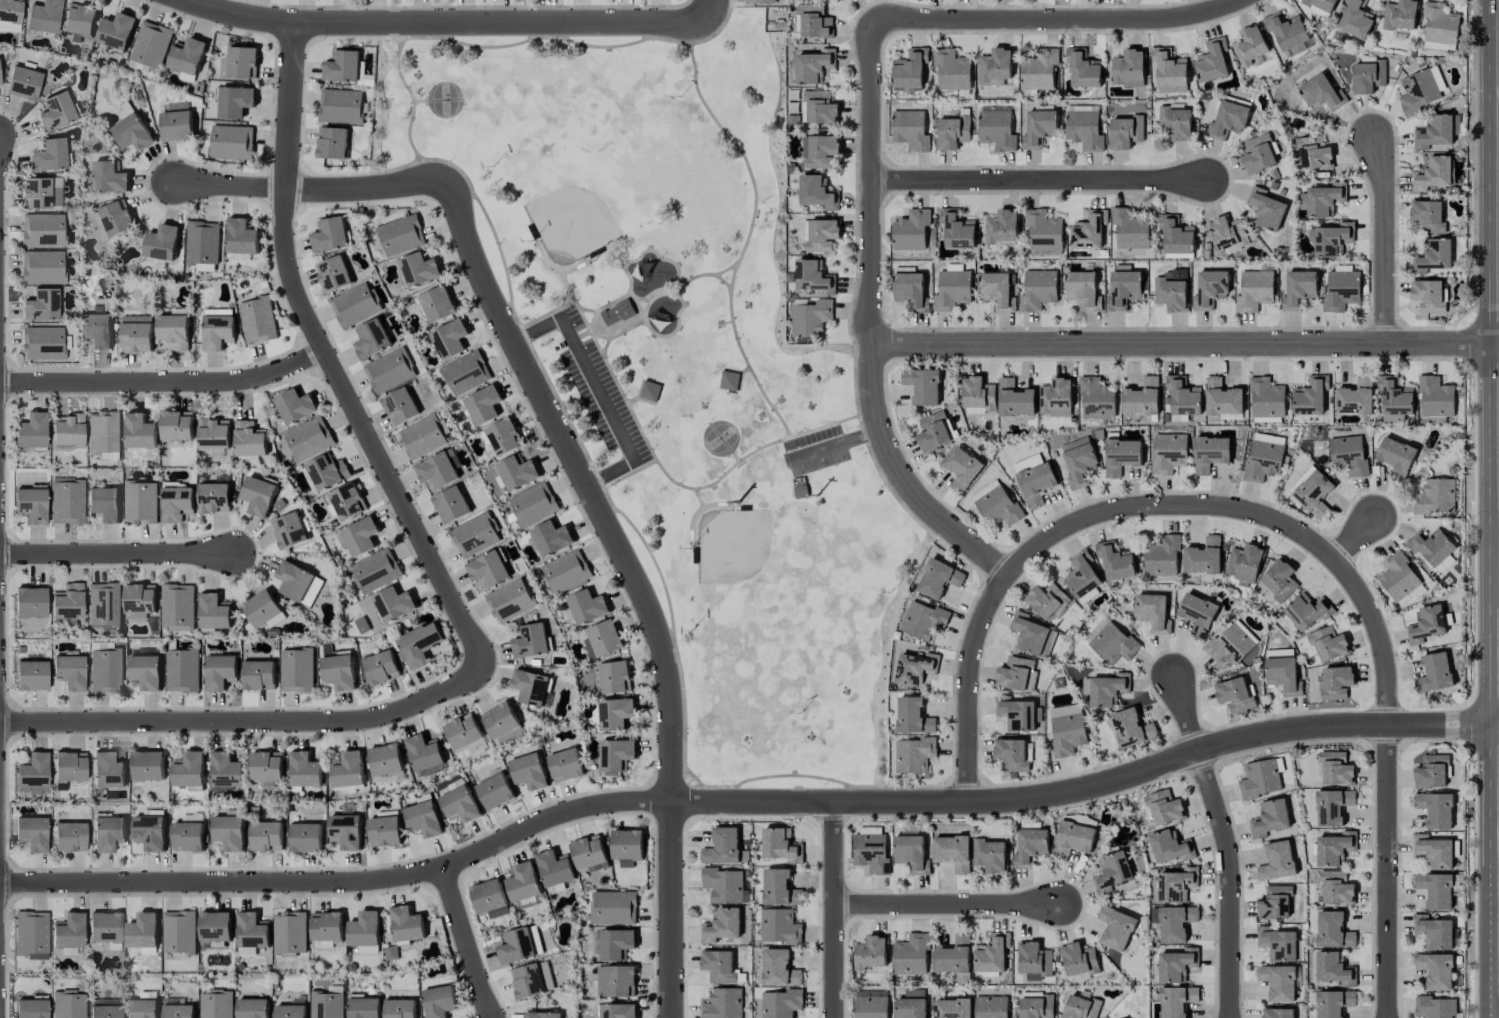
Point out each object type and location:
building: (760, 1)
building: (1319, 6)
building: (10, 10)
road: (709, 11)
building: (1399, 15)
building: (43, 16)
road: (1055, 20)
building: (1355, 20)
building: (80, 21)
road: (443, 22)
building: (816, 25)
building: (1439, 27)
building: (117, 31)
building: (1287, 33)
building: (151, 44)
building: (1250, 45)
building: (187, 56)
building: (1212, 62)
building: (241, 63)
building: (814, 66)
building: (995, 66)
building: (342, 67)
building: (910, 69)
building: (1083, 69)
building: (1128, 69)
building: (952, 70)
building: (1039, 70)
building: (1169, 71)
building: (1367, 76)
building: (0, 83)
building: (23, 83)
building: (1420, 90)
building: (1321, 93)
park: (444, 100)
building: (235, 101)
road: (290, 105)
building: (340, 106)
building: (818, 108)
building: (56, 111)
building: (125, 111)
building: (1228, 119)
building: (1175, 122)
building: (177, 126)
building: (1039, 128)
building: (996, 129)
building: (910, 130)
building: (1084, 130)
building: (952, 132)
building: (1125, 132)
building: (1434, 132)
building: (132, 133)
building: (232, 142)
building: (332, 143)
building: (819, 151)
building: (1257, 154)
building: (49, 155)
building: (1315, 157)
building: (1434, 174)
building: (109, 177)
road: (1038, 179)
road: (231, 186)
building: (35, 192)
building: (817, 193)
building: (1321, 201)
building: (1266, 209)
building: (1427, 216)
building: (116, 218)
building: (1002, 229)
building: (1130, 229)
building: (42, 230)
building: (911, 230)
building: (957, 230)
building: (1089, 231)
building: (1043, 233)
building: (1227, 233)
building: (329, 235)
building: (400, 235)
building: (820, 235)
building: (241, 236)
road: (747, 237)
building: (1176, 238)
building: (1333, 240)
road: (1385, 240)
building: (161, 243)
building: (202, 243)
building: (1433, 256)
building: (42, 267)
road: (728, 268)
building: (419, 269)
building: (333, 274)
road: (706, 275)
road: (679, 276)
building: (813, 277)
building: (996, 289)
building: (1123, 289)
building: (1210, 289)
building: (1298, 289)
building: (952, 290)
building: (1038, 290)
building: (1083, 290)
building: (1171, 290)
building: (1254, 290)
building: (1341, 290)
building: (911, 291)
building: (1430, 295)
building: (437, 304)
building: (41, 305)
building: (355, 305)
road: (635, 307)
building: (617, 313)
building: (810, 318)
building: (257, 320)
road: (872, 324)
building: (96, 330)
building: (173, 331)
building: (217, 332)
building: (136, 334)
building: (449, 338)
building: (371, 339)
building: (42, 343)
road: (1186, 344)
park: (686, 364)
building: (389, 370)
building: (465, 373)
building: (728, 381)
road: (165, 382)
building: (922, 385)
parking lot: (601, 387)
road: (597, 389)
building: (649, 391)
building: (1310, 396)
building: (1394, 396)
building: (1056, 397)
building: (1096, 398)
building: (1141, 398)
building: (1266, 398)
building: (1355, 398)
building: (1436, 398)
building: (1015, 399)
building: (1221, 399)
building: (1183, 400)
building: (483, 405)
building: (294, 406)
building: (400, 406)
building: (177, 426)
building: (67, 429)
building: (31, 430)
building: (140, 431)
road: (366, 431)
building: (934, 431)
building: (103, 432)
building: (213, 434)
building: (423, 436)
building: (503, 436)
park: (720, 438)
building: (249, 439)
building: (307, 439)
road: (835, 444)
parking lot: (815, 451)
building: (1169, 452)
building: (1210, 453)
building: (1348, 455)
building: (1121, 456)
building: (1396, 456)
building: (1264, 457)
building: (1078, 461)
road: (660, 468)
building: (961, 468)
building: (437, 470)
building: (327, 472)
building: (516, 472)
building: (1036, 483)
building: (1314, 494)
building: (258, 496)
building: (214, 497)
building: (1436, 497)
road: (698, 499)
building: (345, 501)
building: (67, 502)
building: (140, 503)
building: (177, 503)
building: (104, 504)
building: (533, 504)
building: (31, 505)
building: (451, 505)
road: (1139, 505)
road: (598, 507)
building: (998, 507)
building: (289, 530)
building: (475, 535)
building: (360, 536)
building: (551, 538)
road: (1357, 543)
building: (1431, 546)
road: (115, 555)
building: (1162, 556)
building: (1203, 557)
building: (1115, 561)
building: (1244, 563)
building: (488, 569)
building: (377, 570)
building: (566, 571)
building: (1082, 575)
building: (1398, 576)
building: (938, 578)
building: (1279, 580)
building: (299, 583)
building: (510, 600)
building: (1046, 600)
building: (67, 601)
building: (140, 601)
building: (30, 602)
building: (104, 604)
building: (394, 604)
building: (177, 607)
building: (587, 607)
building: (263, 610)
building: (1151, 610)
building: (214, 611)
building: (1307, 611)
building: (1197, 614)
building: (922, 620)
building: (1426, 624)
building: (1032, 635)
building: (602, 639)
building: (531, 642)
building: (1110, 642)
building: (419, 644)
building: (1231, 644)
building: (1328, 644)
building: (327, 649)
building: (105, 667)
building: (381, 668)
building: (913, 669)
building: (182, 670)
building: (296, 670)
building: (219, 671)
building: (69, 672)
building: (145, 672)
building: (339, 672)
building: (1434, 673)
building: (31, 675)
building: (259, 675)
building: (1017, 675)
building: (1283, 675)
building: (614, 677)
building: (1335, 682)
building: (531, 687)
building: (1106, 689)
building: (1234, 695)
building: (1064, 710)
building: (615, 714)
building: (1017, 715)
road: (1187, 715)
building: (913, 716)
building: (500, 720)
road: (248, 721)
building: (1131, 728)
building: (463, 732)
building: (1067, 734)
building: (423, 752)
building: (616, 754)
building: (1012, 754)
building: (914, 755)
building: (385, 760)
building: (565, 765)
building: (148, 766)
building: (266, 766)
building: (68, 768)
building: (189, 769)
building: (1336, 769)
building: (108, 770)
building: (304, 770)
building: (348, 770)
building: (225, 771)
building: (528, 771)
building: (1432, 771)
building: (33, 773)
building: (1261, 778)
road: (1089, 787)
building: (495, 791)
building: (459, 805)
building: (1333, 806)
building: (1163, 807)
building: (1437, 810)
building: (423, 818)
building: (1269, 818)
building: (1086, 821)
building: (346, 831)
building: (384, 831)
building: (149, 832)
building: (229, 832)
building: (32, 833)
building: (108, 833)
building: (70, 836)
building: (266, 836)
building: (188, 837)
building: (306, 838)
building: (1073, 839)
building: (781, 845)
building: (1169, 846)
building: (627, 847)
building: (722, 847)
building: (1030, 847)
building: (1335, 849)
building: (1433, 851)
building: (588, 852)
building: (871, 852)
building: (953, 852)
building: (912, 853)
building: (989, 855)
building: (1277, 862)
building: (554, 868)
road: (1387, 871)
road: (343, 881)
building: (523, 882)
road: (1231, 882)
building: (1176, 884)
building: (724, 885)
building: (779, 888)
building: (1435, 890)
building: (489, 899)
road: (946, 903)
building: (1274, 903)
building: (613, 907)
road: (833, 910)
building: (1176, 923)
building: (406, 924)
building: (721, 925)
building: (326, 926)
building: (779, 926)
building: (104, 927)
building: (1115, 928)
building: (214, 929)
building: (252, 930)
building: (142, 931)
building: (1333, 931)
building: (179, 932)
building: (364, 932)
building: (1434, 932)
building: (68, 933)
building: (31, 934)
building: (289, 934)
building: (535, 939)
road: (466, 943)
building: (1277, 943)
building: (322, 944)
building: (616, 944)
building: (515, 946)
building: (870, 953)
building: (911, 954)
building: (991, 955)
building: (954, 959)
building: (1078, 959)
building: (1034, 961)
building: (1177, 964)
building: (779, 969)
building: (1334, 969)
building: (1436, 970)
building: (529, 979)
building: (616, 981)
building: (1278, 982)
building: (439, 1001)
building: (1176, 1001)
building: (780, 1003)
building: (1334, 1003)
building: (67, 1004)
building: (723, 1004)
building: (871, 1004)
building: (216, 1005)
building: (326, 1005)
building: (991, 1007)
building: (1036, 1007)
building: (1080, 1007)
building: (1435, 1007)
building: (31, 1008)
building: (104, 1008)
building: (141, 1008)
building: (252, 1008)
building: (363, 1008)
building: (399, 1008)
building: (910, 1008)
building: (952, 1008)
building: (178, 1011)
building: (290, 1011)
building: (618, 1011)
building: (1278, 1013)
building: (542, 1015)

